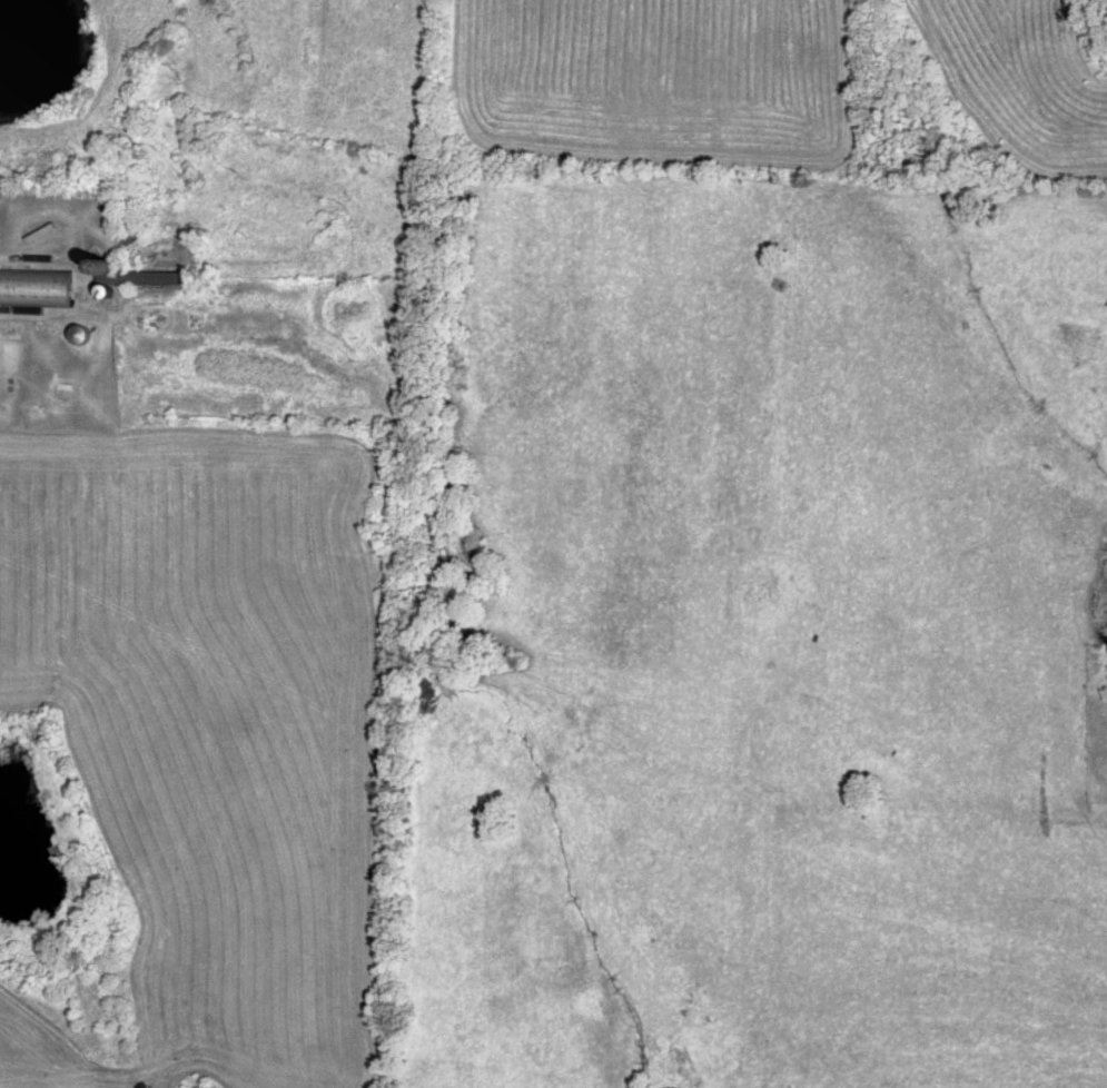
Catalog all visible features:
building: (138, 276)
building: (37, 289)
building: (83, 335)
building: (763, 586)

